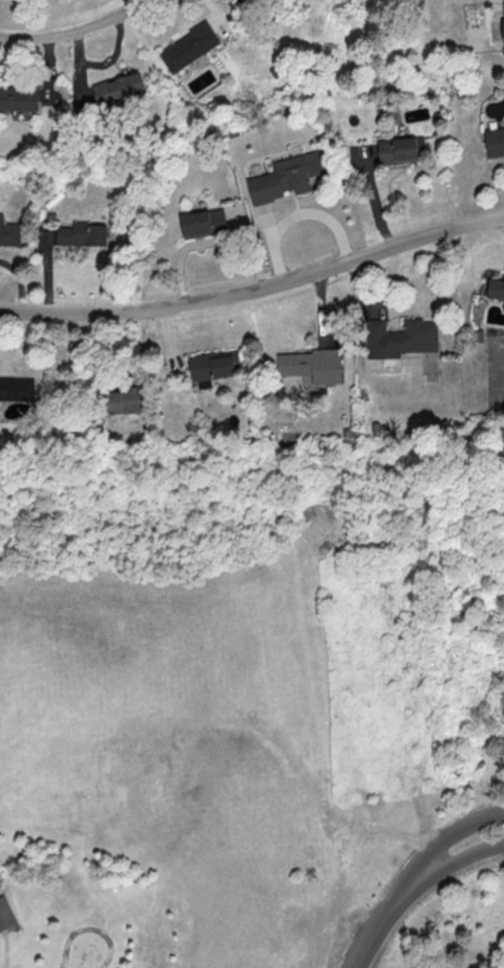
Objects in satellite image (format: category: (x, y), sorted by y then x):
building: (503, 22)
road: (75, 25)
building: (190, 49)
building: (118, 90)
building: (18, 100)
building: (494, 143)
building: (401, 149)
building: (285, 180)
building: (204, 225)
building: (9, 234)
building: (82, 236)
building: (496, 288)
road: (256, 291)
road: (359, 294)
road: (320, 311)
building: (400, 340)
building: (213, 367)
building: (313, 368)
building: (16, 388)
building: (124, 400)
park: (253, 705)
road: (449, 838)
road: (456, 859)
building: (5, 915)
road: (386, 924)
park: (87, 948)
road: (6, 949)
road: (294, 967)

